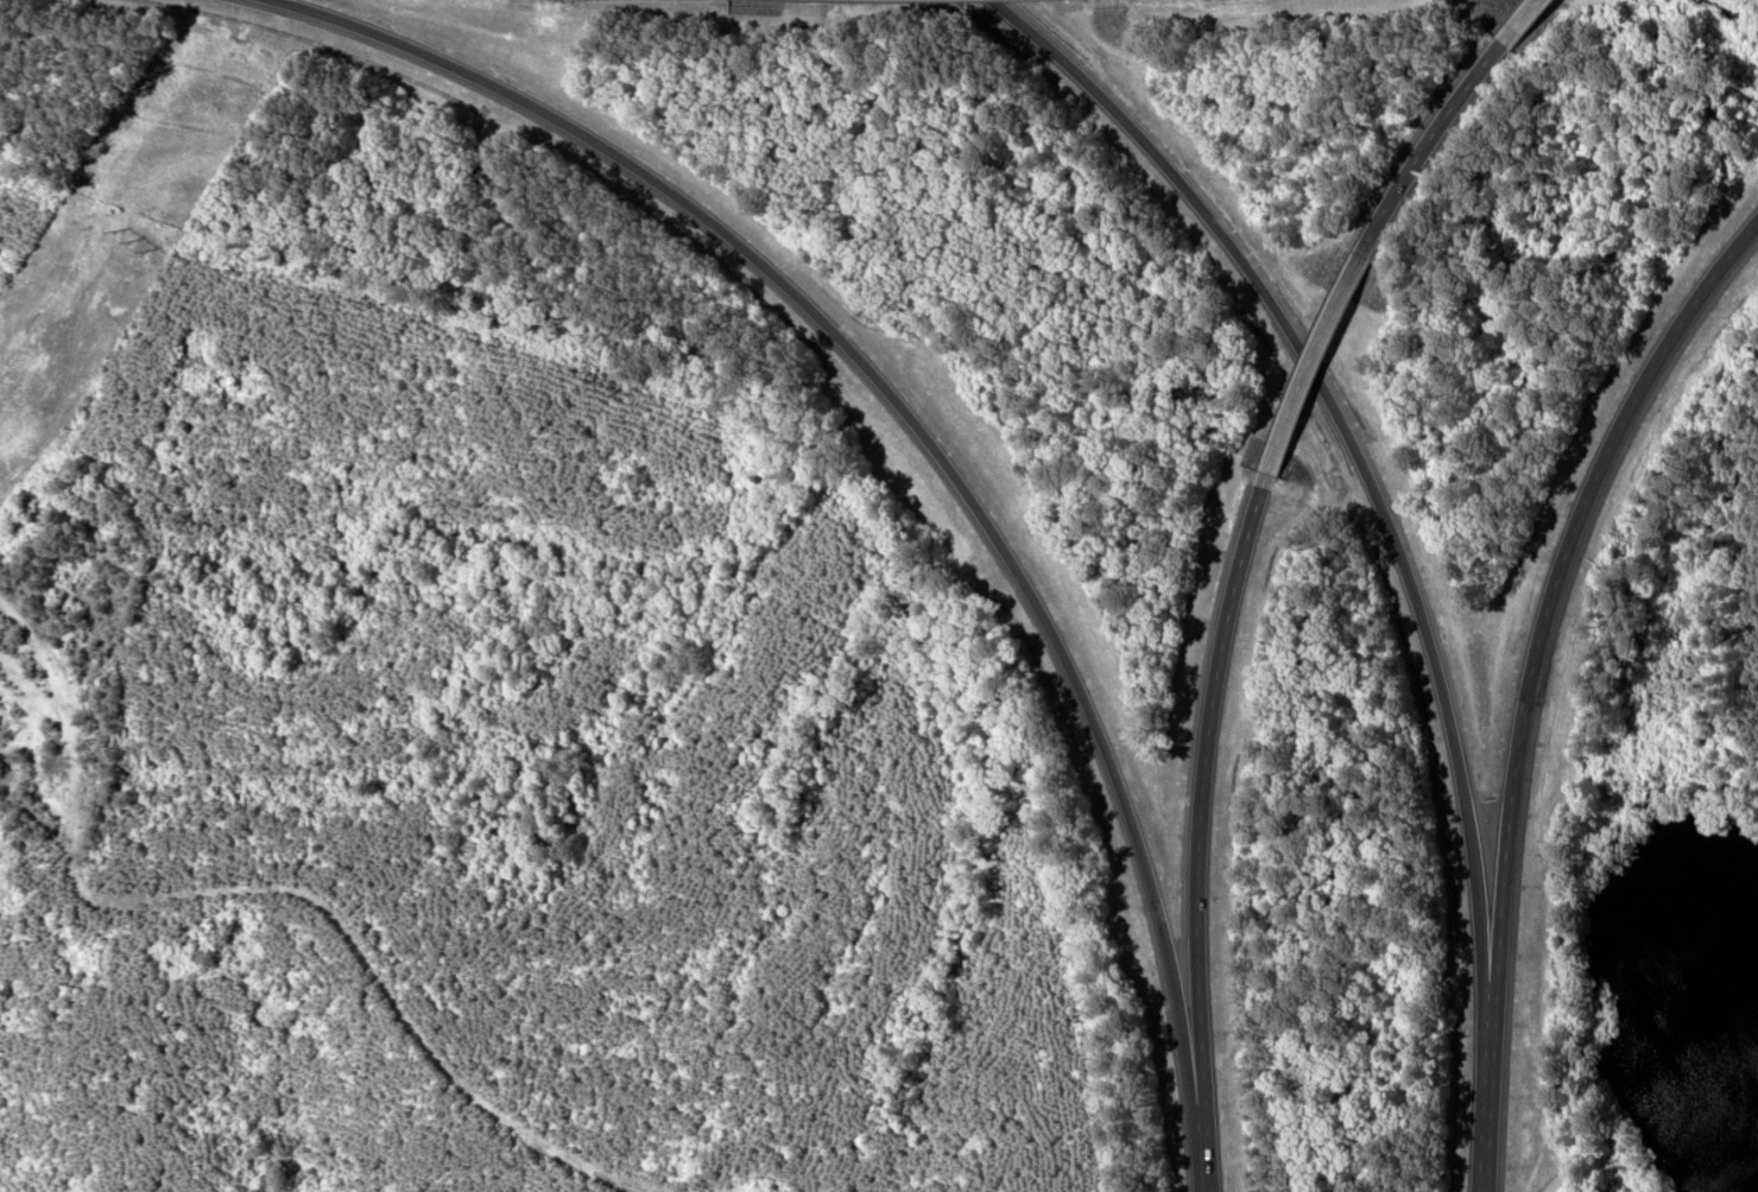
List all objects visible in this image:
road: (1522, 21)
road: (1425, 145)
power tower: (129, 245)
road: (1309, 369)
road: (906, 421)
road: (1349, 439)
road: (1557, 582)
road: (1201, 812)
road: (1487, 1091)
road: (1204, 1167)

